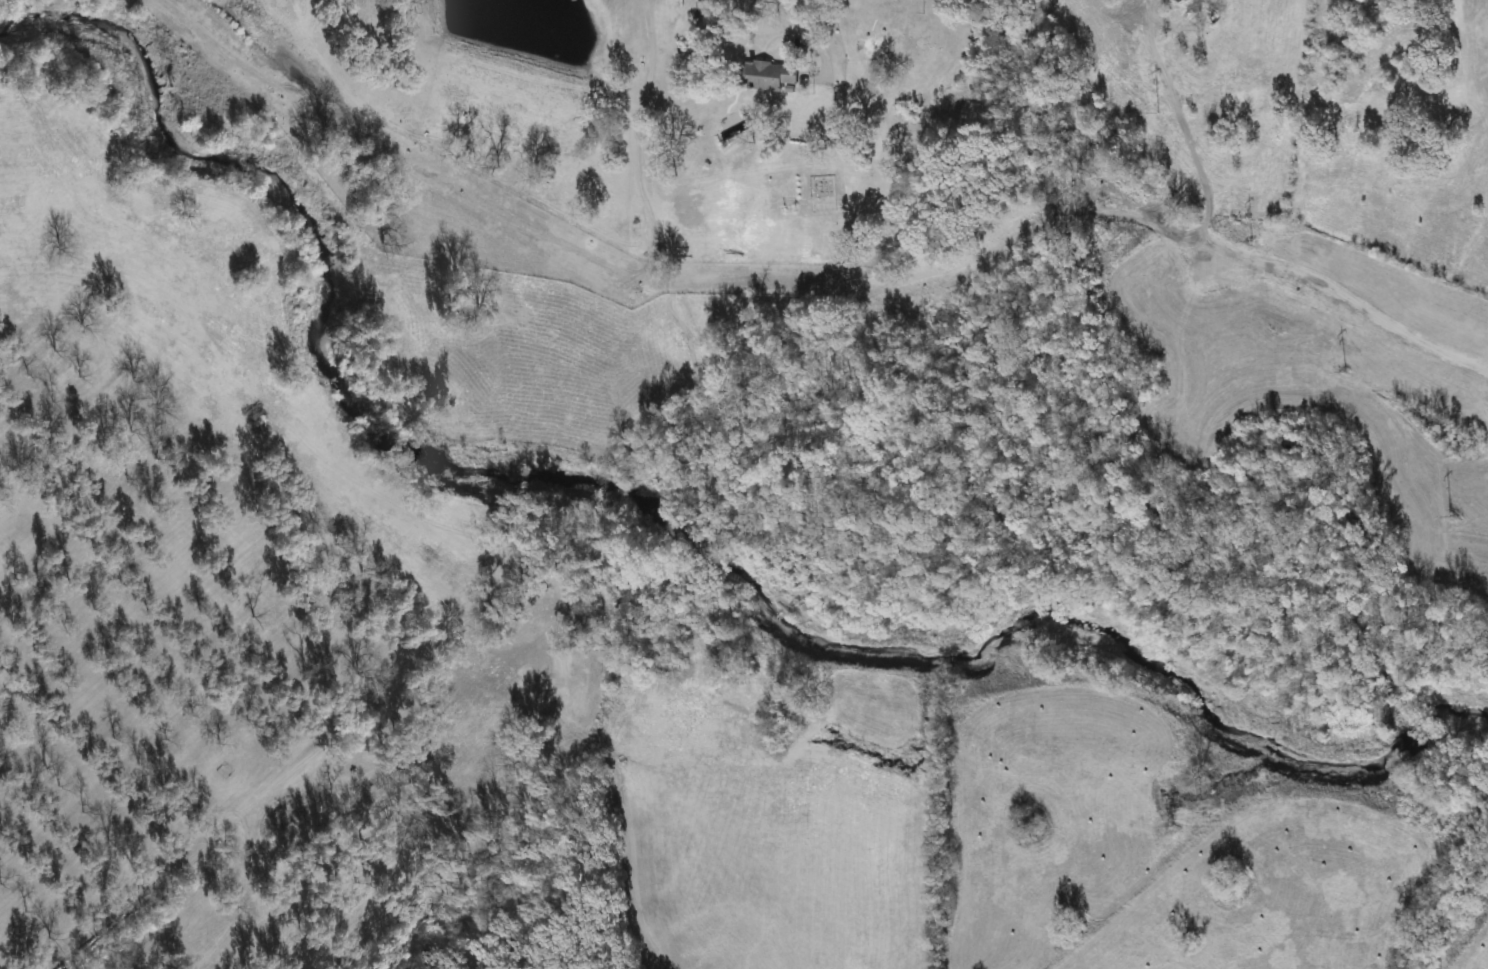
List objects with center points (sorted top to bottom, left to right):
building: (705, 10)
road: (813, 39)
building: (770, 75)

